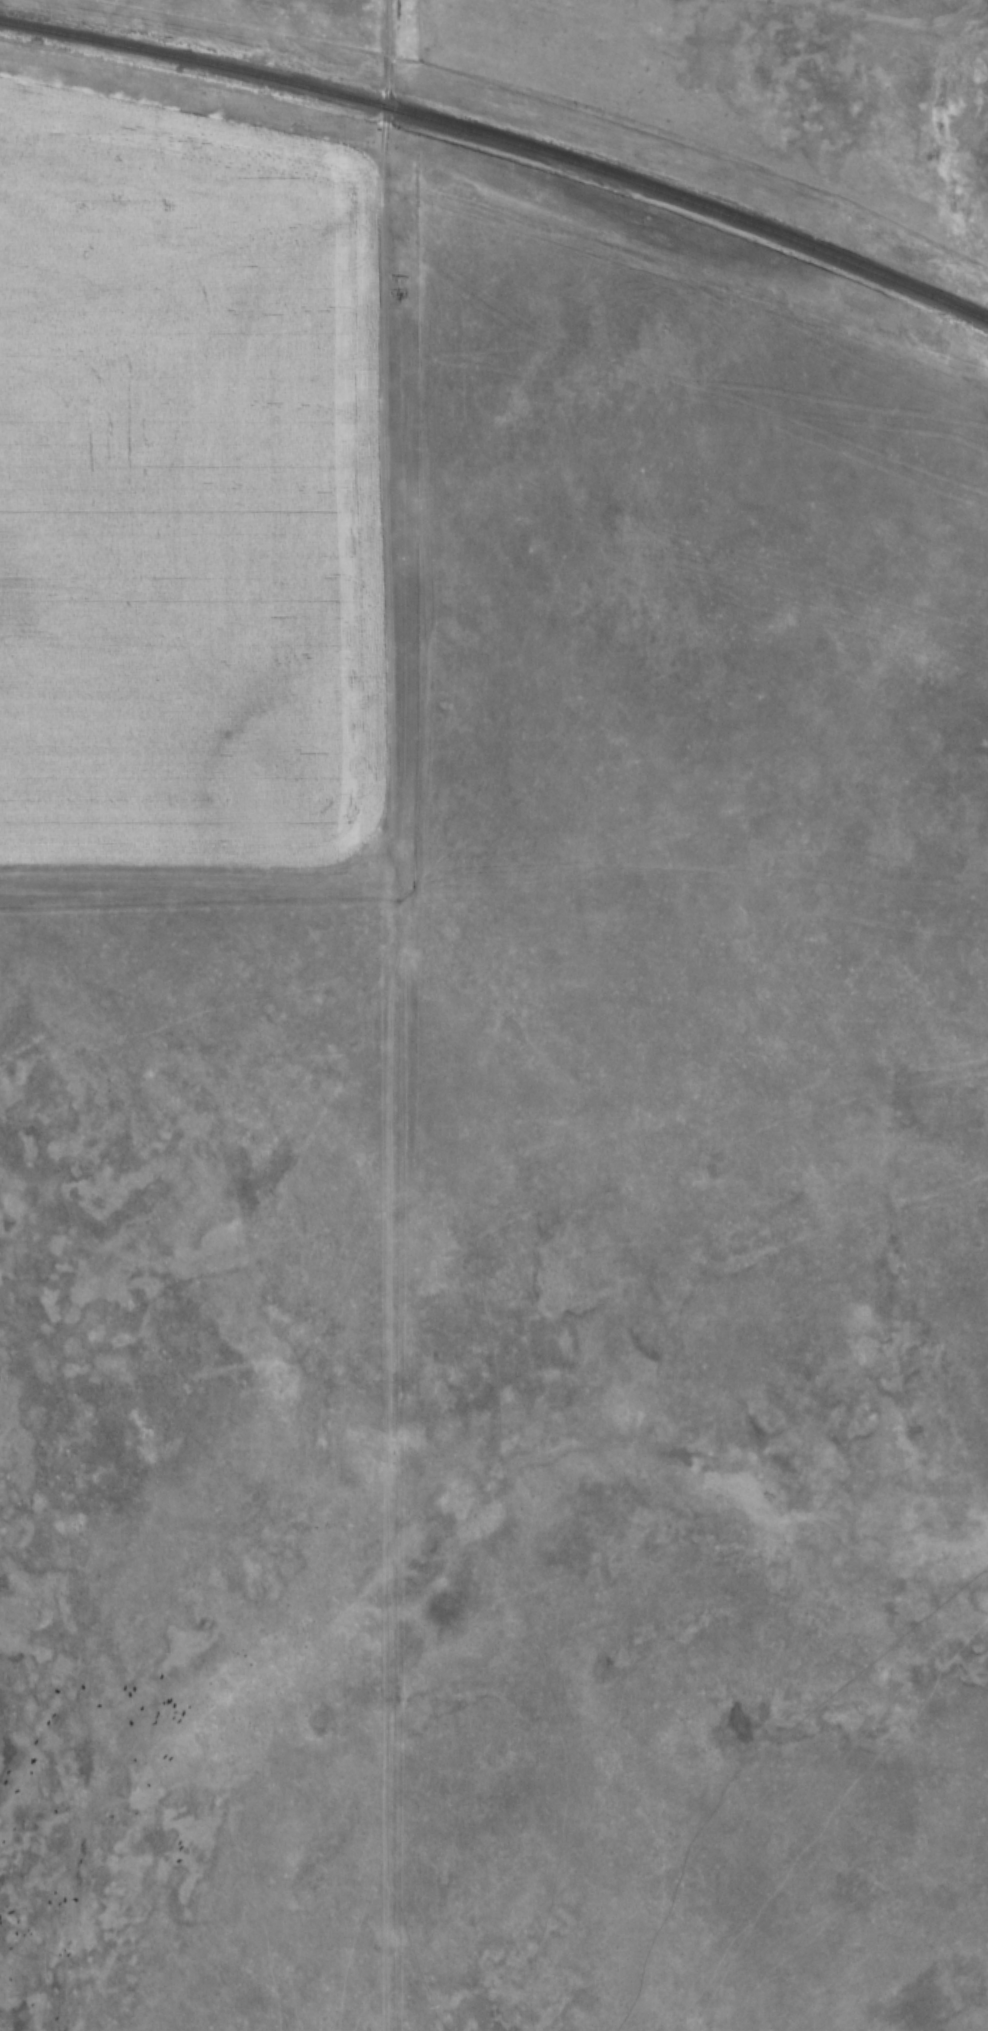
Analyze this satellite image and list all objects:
railway: (502, 145)

